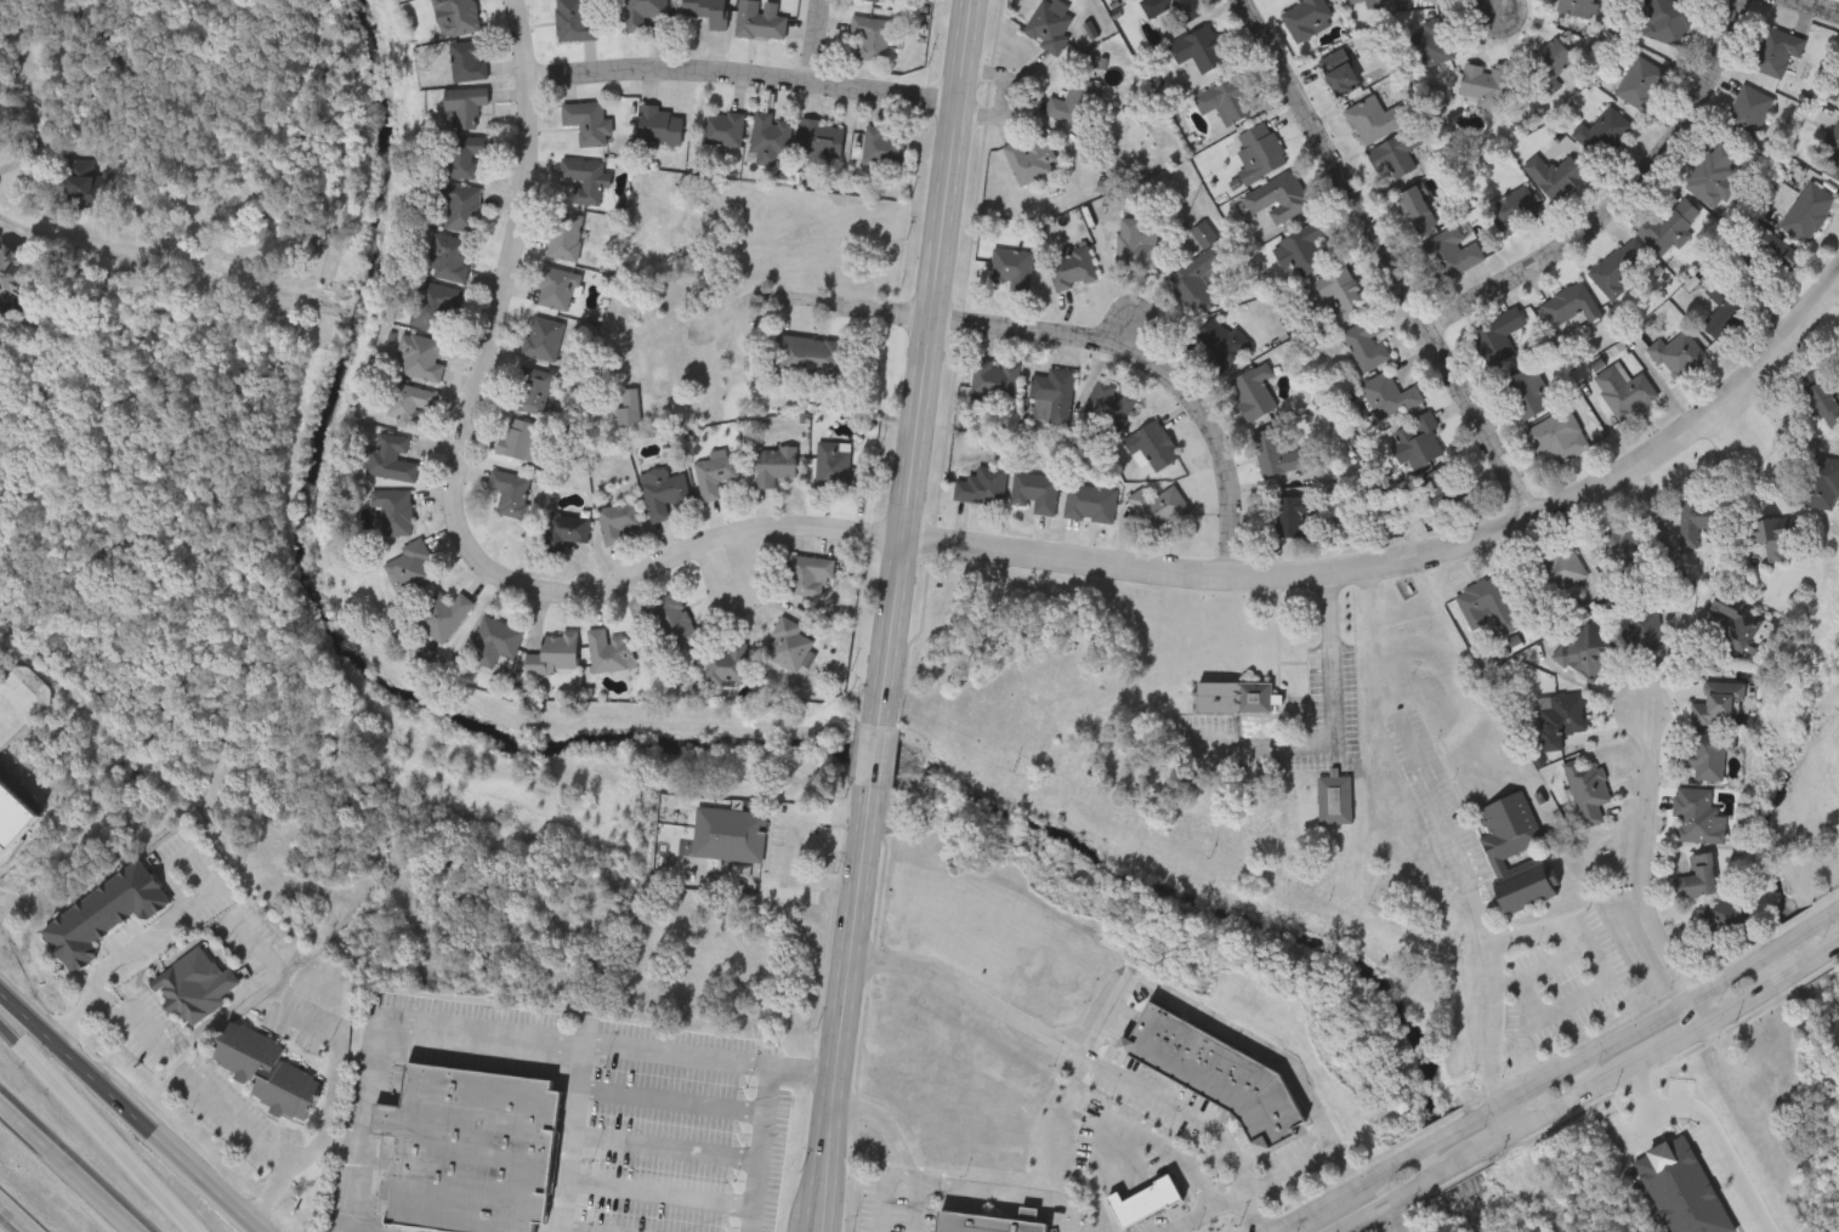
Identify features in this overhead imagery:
building: (1449, 0)
building: (881, 1)
building: (1363, 2)
building: (1578, 6)
road: (1502, 8)
building: (1173, 10)
road: (1807, 10)
building: (708, 11)
building: (642, 12)
building: (456, 16)
building: (761, 18)
building: (1309, 18)
building: (577, 19)
building: (1668, 19)
building: (95, 23)
building: (1050, 24)
building: (872, 35)
road: (816, 42)
building: (1431, 42)
building: (1204, 49)
building: (1776, 50)
building: (467, 58)
building: (1549, 64)
road: (44, 69)
building: (1339, 72)
road: (742, 81)
building: (1641, 81)
building: (1483, 84)
building: (0, 96)
building: (0, 98)
building: (1228, 98)
building: (1077, 101)
building: (465, 102)
building: (1748, 110)
building: (4, 117)
building: (1374, 119)
building: (589, 120)
building: (662, 125)
building: (725, 126)
building: (1605, 131)
building: (771, 137)
building: (822, 140)
building: (884, 144)
building: (1260, 152)
building: (464, 153)
building: (1395, 153)
building: (1831, 155)
building: (1031, 159)
building: (1714, 174)
building: (1555, 175)
building: (585, 177)
building: (86, 187)
building: (1279, 197)
road: (1627, 204)
building: (464, 206)
building: (1417, 209)
building: (1516, 209)
building: (1807, 211)
building: (1670, 223)
building: (566, 234)
building: (1137, 245)
building: (1309, 246)
building: (1452, 252)
building: (449, 256)
building: (1770, 256)
road: (1386, 261)
building: (1072, 266)
building: (10, 267)
building: (1012, 267)
building: (1621, 267)
building: (557, 286)
building: (1341, 294)
road: (808, 295)
building: (1571, 303)
building: (433, 305)
building: (1724, 311)
building: (1498, 335)
building: (543, 337)
building: (1220, 341)
building: (1367, 342)
building: (811, 354)
building: (1679, 354)
building: (421, 357)
road: (923, 362)
building: (666, 364)
road: (1159, 368)
building: (997, 379)
building: (533, 390)
building: (1625, 390)
building: (1253, 391)
building: (1528, 392)
building: (1052, 394)
building: (1390, 394)
building: (408, 403)
building: (1823, 403)
building: (629, 408)
building: (1107, 408)
road: (1743, 422)
building: (1559, 435)
building: (523, 439)
building: (1420, 439)
building: (1152, 445)
building: (1275, 453)
building: (388, 456)
building: (834, 462)
building: (774, 464)
building: (715, 471)
building: (1820, 481)
building: (981, 483)
building: (1447, 488)
building: (663, 490)
building: (1035, 490)
building: (512, 492)
road: (456, 500)
building: (1090, 503)
building: (1158, 505)
building: (393, 510)
building: (1697, 516)
building: (618, 518)
building: (1290, 521)
building: (566, 528)
building: (1770, 534)
building: (1624, 541)
road: (1415, 562)
building: (411, 566)
building: (1562, 568)
building: (808, 572)
building: (1486, 604)
building: (670, 612)
building: (441, 614)
building: (1738, 620)
building: (1644, 629)
building: (495, 641)
building: (789, 645)
building: (609, 651)
building: (1589, 651)
building: (554, 653)
building: (727, 664)
building: (1236, 699)
road: (10, 703)
building: (1716, 703)
building: (1562, 717)
road: (1335, 722)
park: (1799, 745)
building: (1707, 753)
road: (876, 756)
building: (1589, 790)
building: (1335, 799)
building: (1697, 814)
building: (730, 833)
road: (790, 845)
building: (1505, 846)
road: (1650, 872)
building: (1698, 874)
road: (1480, 903)
building: (104, 912)
building: (1726, 920)
road: (1601, 963)
road: (107, 965)
building: (195, 984)
road: (1122, 984)
road: (845, 1010)
road: (371, 1031)
road: (581, 1040)
road: (176, 1048)
road: (1556, 1067)
building: (267, 1068)
road: (804, 1069)
building: (1216, 1072)
road: (331, 1079)
road: (1585, 1085)
road: (671, 1097)
road: (1511, 1109)
road: (125, 1117)
road: (1197, 1119)
road: (884, 1120)
road: (1709, 1128)
road: (95, 1129)
road: (666, 1145)
road: (1162, 1145)
road: (267, 1146)
road: (760, 1147)
building: (470, 1148)
road: (1289, 1165)
road: (63, 1171)
road: (993, 1187)
road: (660, 1196)
road: (884, 1200)
road: (1203, 1209)
road: (16, 1216)
road: (1391, 1216)
building: (983, 1222)
road: (347, 1230)
road: (568, 1231)

